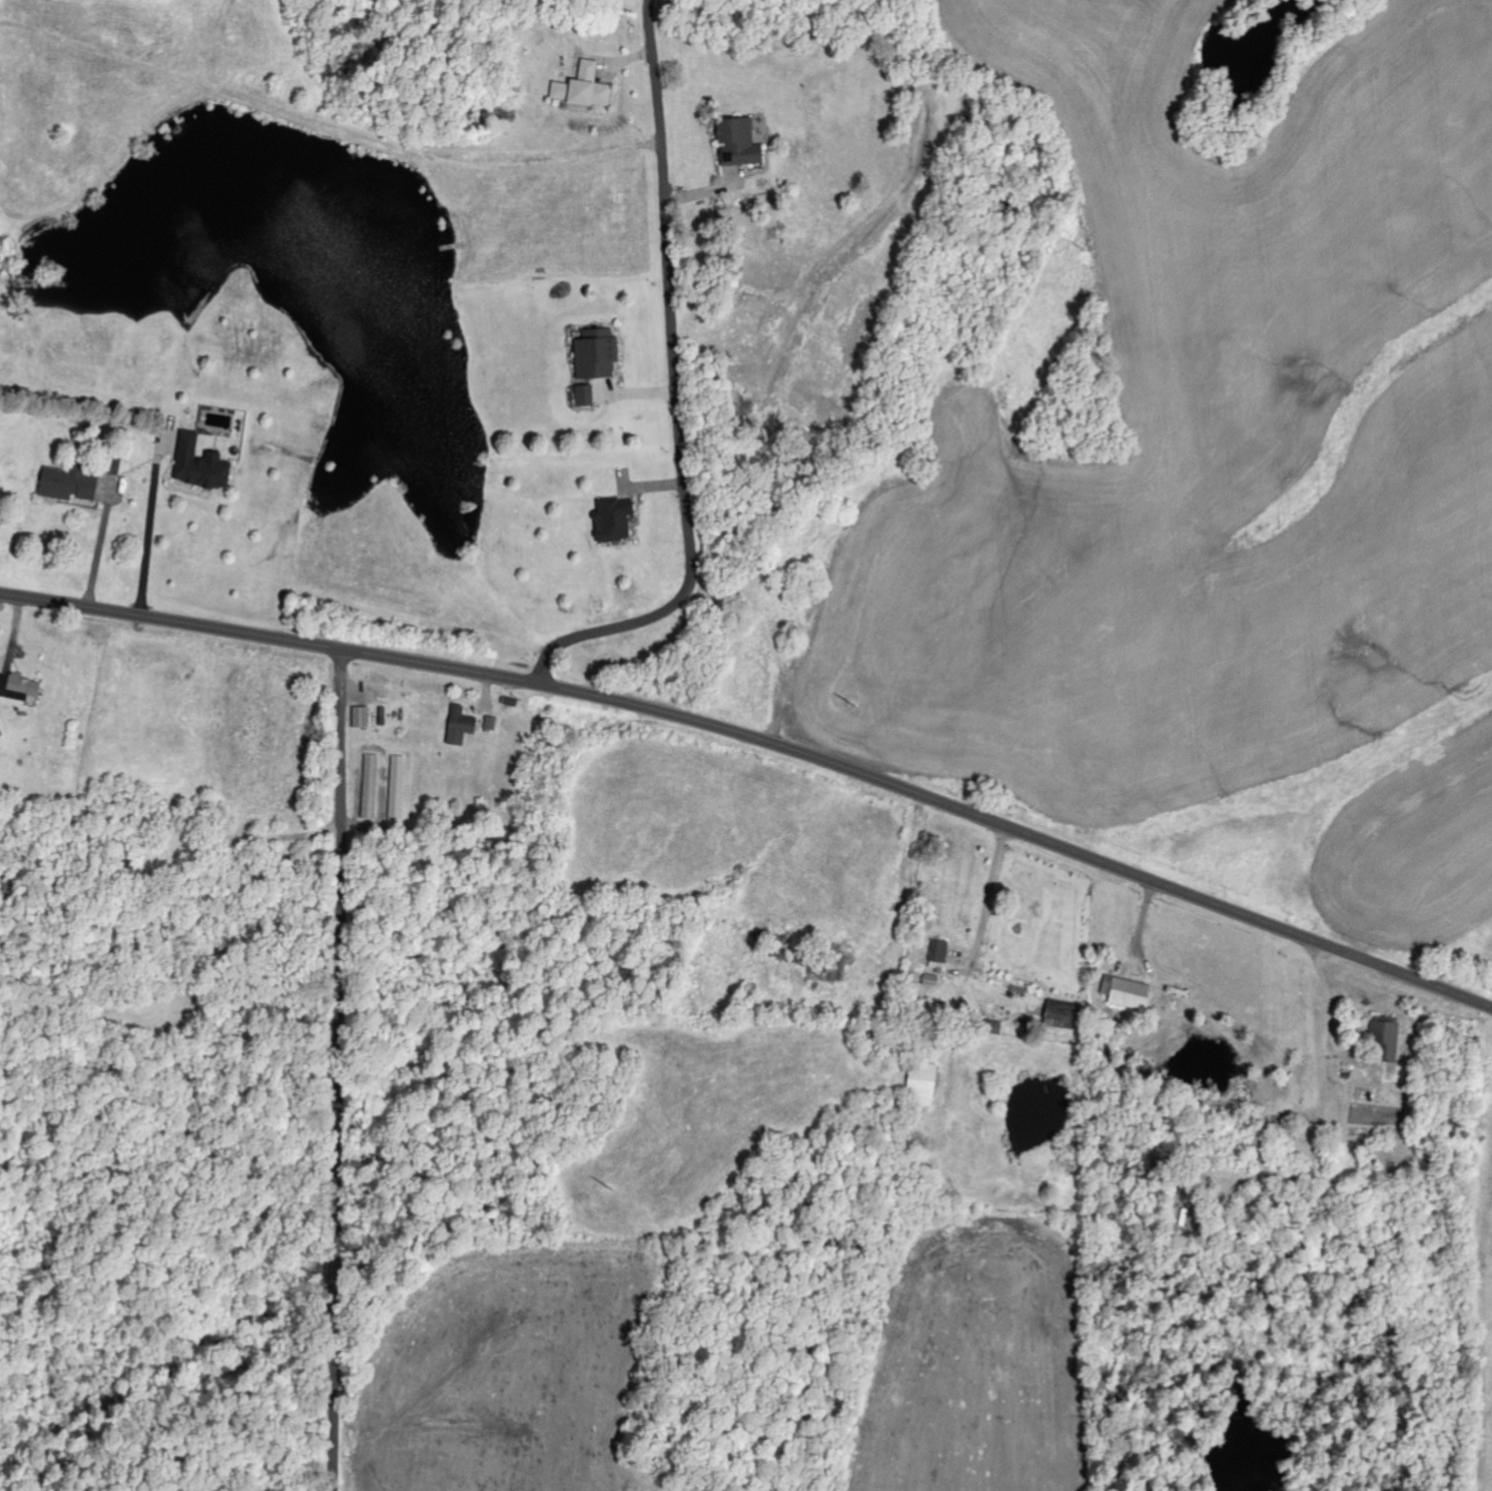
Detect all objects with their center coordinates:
building: (585, 89)
building: (741, 143)
building: (598, 354)
road: (678, 386)
building: (586, 396)
building: (203, 465)
building: (71, 484)
building: (616, 520)
building: (20, 688)
building: (363, 718)
building: (491, 724)
building: (462, 726)
road: (762, 735)
building: (371, 787)
building: (398, 789)
building: (941, 952)
building: (1134, 992)
building: (1064, 1016)
building: (1389, 1041)
road: (339, 1068)
building: (924, 1084)

